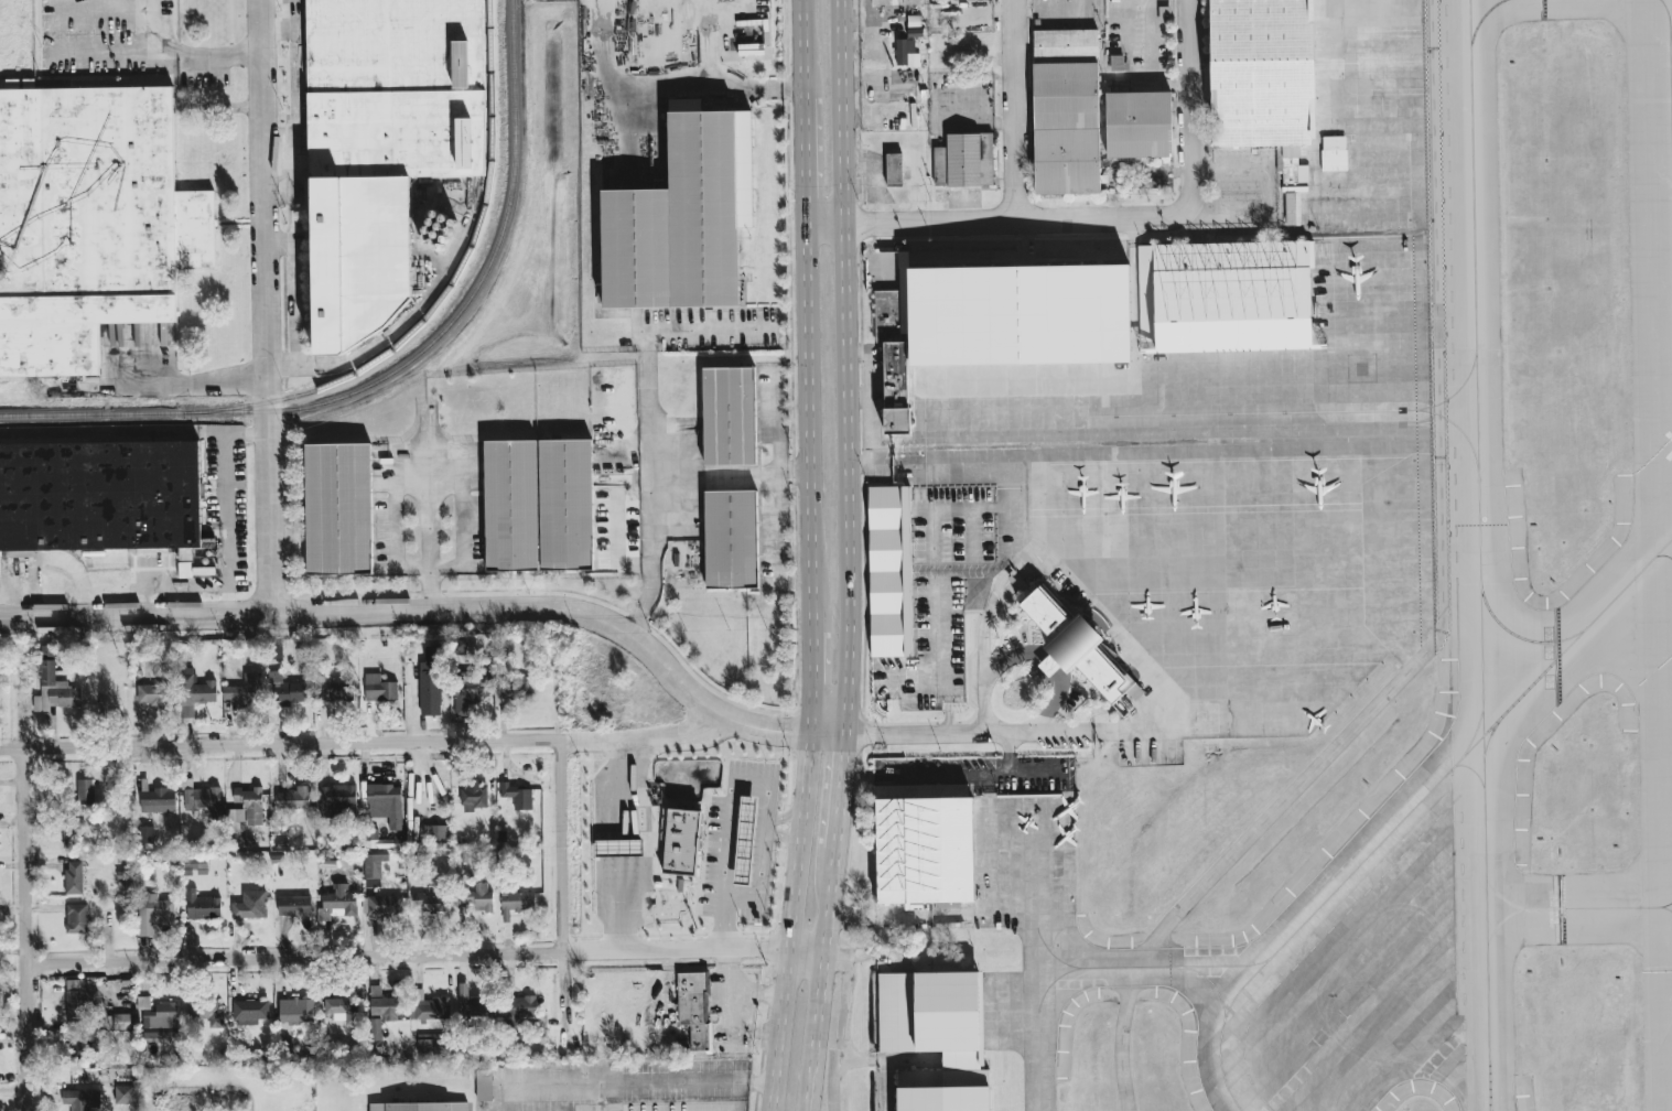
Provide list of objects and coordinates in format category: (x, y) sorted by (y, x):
building: (895, 2)
building: (1164, 13)
road: (279, 31)
building: (915, 31)
road: (802, 47)
road: (111, 50)
building: (906, 53)
road: (215, 54)
building: (1118, 62)
building: (1269, 74)
road: (709, 77)
road: (295, 82)
building: (400, 89)
road: (675, 91)
road: (1191, 100)
road: (1017, 109)
building: (1066, 111)
building: (1139, 125)
building: (1334, 150)
building: (964, 160)
road: (803, 161)
building: (894, 169)
road: (1036, 218)
building: (684, 220)
building: (85, 223)
road: (840, 224)
railway: (451, 289)
building: (1233, 294)
building: (945, 304)
road: (268, 306)
road: (711, 330)
railway: (399, 368)
road: (844, 368)
road: (166, 385)
building: (731, 416)
road: (806, 421)
airport apron: (1228, 434)
railway: (97, 435)
road: (792, 472)
road: (778, 475)
road: (713, 479)
road: (649, 484)
building: (104, 492)
road: (226, 505)
building: (541, 505)
road: (429, 508)
building: (342, 509)
building: (734, 539)
road: (615, 546)
airport taxiway: (1479, 555)
road: (64, 561)
building: (191, 564)
road: (464, 564)
road: (169, 582)
building: (898, 590)
road: (618, 594)
airport: (1287, 601)
road: (424, 611)
airport taxiway: (1519, 635)
building: (1080, 650)
building: (276, 651)
road: (1043, 655)
road: (1051, 662)
road: (809, 676)
road: (986, 679)
building: (430, 682)
building: (55, 686)
building: (471, 687)
building: (380, 688)
building: (516, 688)
building: (291, 689)
building: (335, 690)
building: (193, 691)
building: (246, 691)
building: (154, 693)
road: (1051, 708)
road: (693, 721)
road: (1153, 730)
road: (950, 731)
airport taxiway: (1474, 733)
road: (666, 734)
airport taxiway: (1489, 737)
road: (711, 738)
road: (668, 740)
road: (327, 744)
road: (968, 768)
road: (1037, 768)
airport taxiway: (1471, 768)
road: (737, 787)
road: (623, 788)
building: (85, 791)
road: (841, 794)
building: (474, 795)
building: (519, 796)
building: (294, 798)
building: (204, 799)
building: (158, 800)
building: (337, 800)
building: (251, 803)
building: (386, 803)
airport taxiway: (1410, 810)
road: (734, 811)
road: (747, 813)
road: (759, 815)
road: (788, 816)
building: (234, 820)
road: (732, 831)
road: (745, 832)
building: (433, 833)
road: (757, 833)
road: (787, 838)
building: (744, 840)
building: (681, 841)
road: (1239, 843)
road: (565, 846)
road: (623, 846)
road: (730, 850)
road: (744, 850)
road: (756, 851)
building: (932, 854)
airport apron: (1018, 863)
building: (195, 865)
road: (729, 865)
road: (743, 866)
road: (755, 867)
building: (373, 871)
building: (74, 877)
building: (475, 898)
road: (26, 900)
building: (430, 902)
building: (338, 903)
building: (516, 903)
road: (623, 904)
building: (202, 905)
building: (250, 905)
building: (385, 905)
building: (294, 906)
airport taxiway: (1557, 907)
building: (76, 918)
airport taxiway: (1500, 921)
road: (799, 923)
road: (790, 950)
airport taxiway: (1055, 956)
road: (392, 957)
airport taxiway: (1142, 966)
road: (820, 980)
airport taxiway: (1211, 982)
building: (79, 1000)
building: (474, 1004)
building: (385, 1005)
building: (428, 1006)
building: (250, 1008)
building: (341, 1008)
building: (694, 1008)
building: (519, 1010)
building: (296, 1011)
building: (206, 1013)
building: (159, 1014)
road: (842, 1021)
airport taxiway: (1042, 1021)
building: (375, 1028)
building: (945, 1038)
building: (83, 1044)
building: (433, 1044)
road: (680, 1081)
building: (484, 1085)
road: (535, 1085)
building: (123, 1093)
building: (80, 1099)
airport taxiway: (1490, 1104)
building: (425, 1107)

